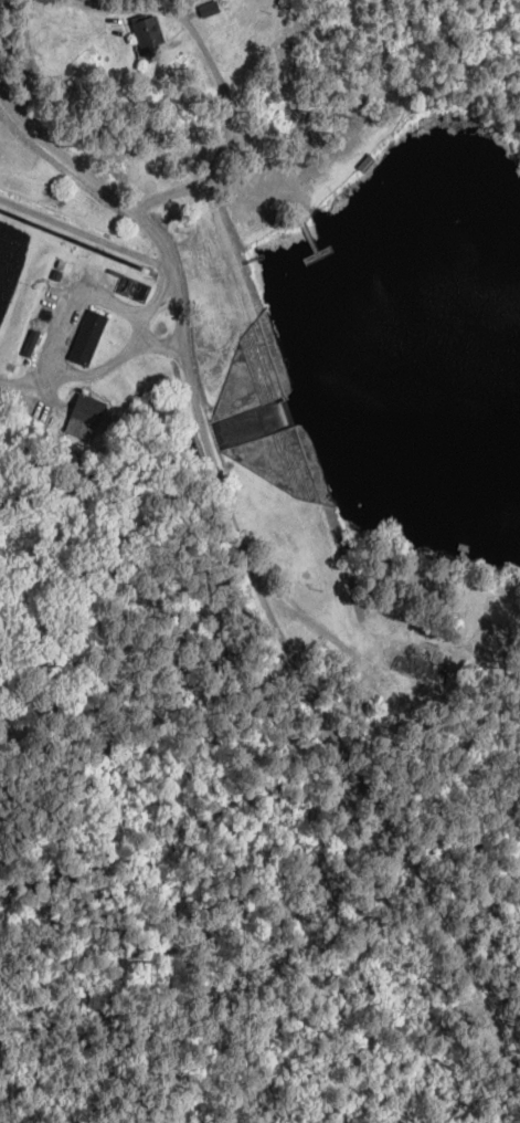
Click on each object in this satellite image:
building: (210, 7)
building: (149, 30)
road: (94, 176)
dam: (283, 330)
building: (89, 336)
building: (88, 417)
dam: (335, 490)
building: (424, 664)

